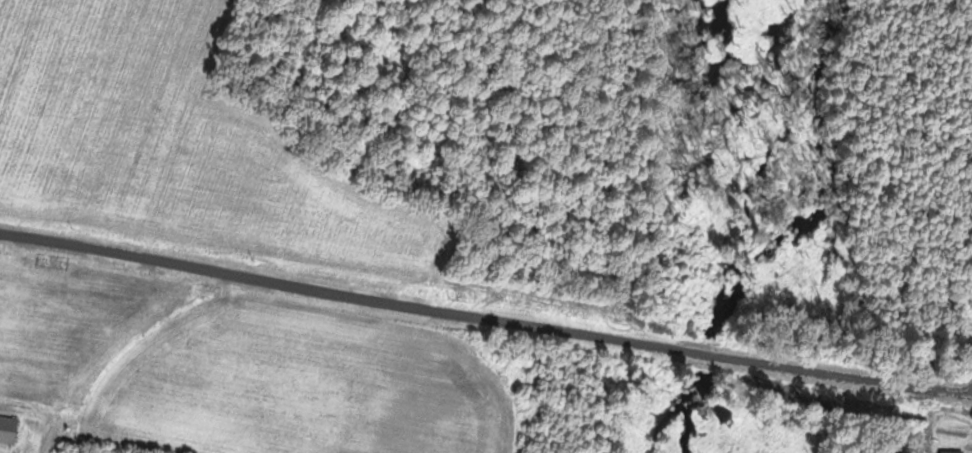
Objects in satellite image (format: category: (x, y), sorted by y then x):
road: (485, 316)
building: (10, 427)
building: (956, 452)

